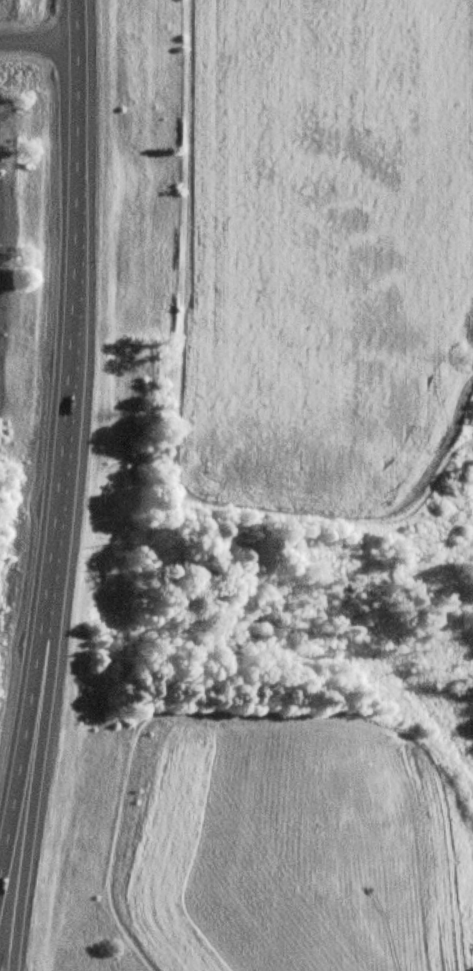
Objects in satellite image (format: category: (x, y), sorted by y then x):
road: (37, 44)
road: (59, 430)
road: (34, 773)

